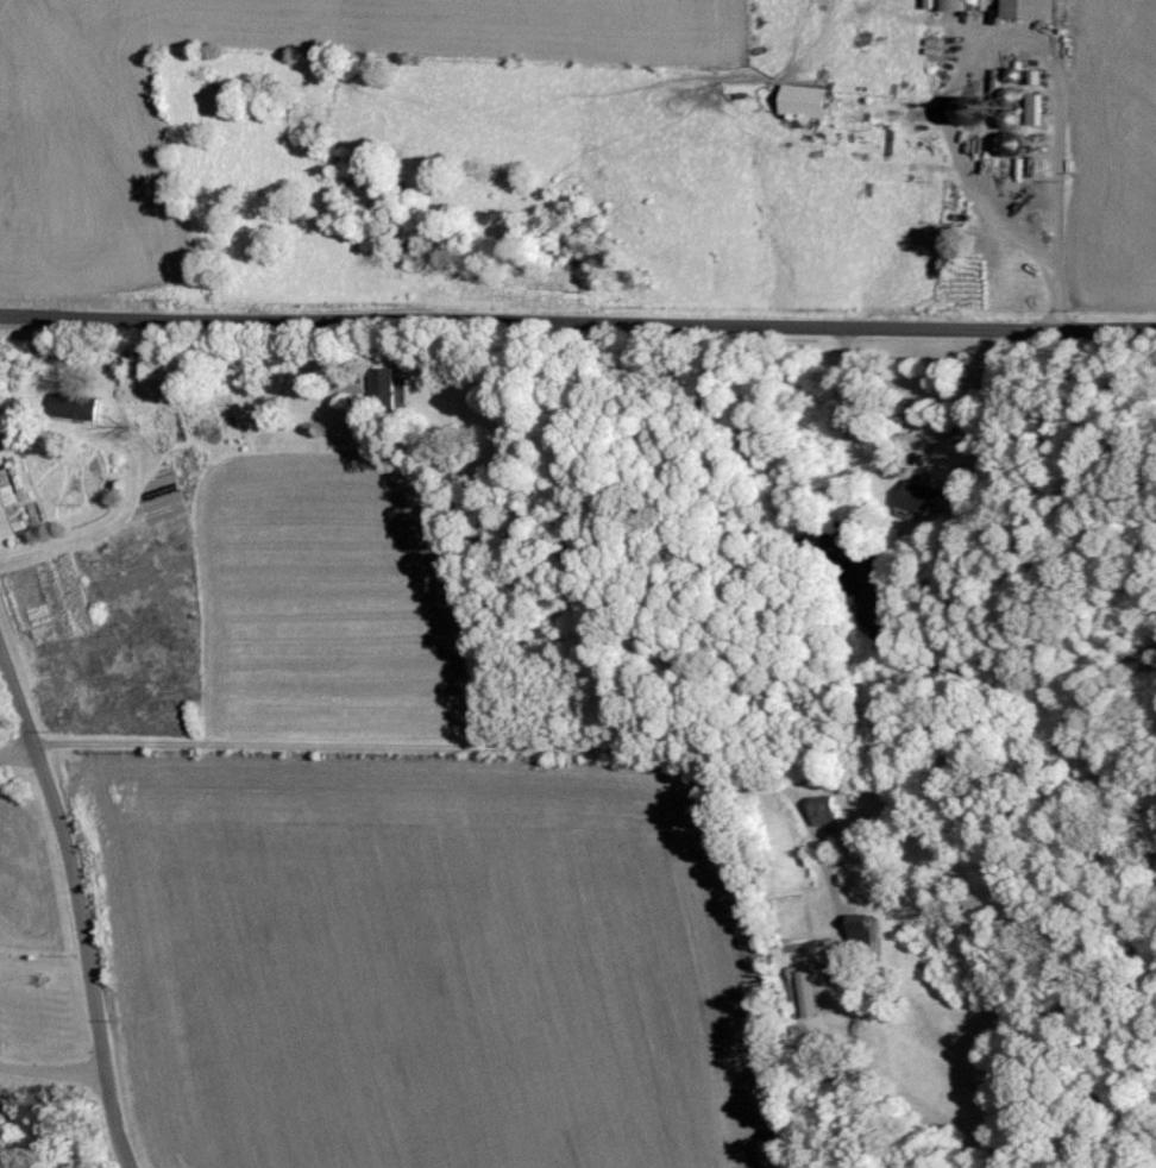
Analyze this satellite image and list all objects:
building: (951, 5)
building: (1025, 8)
building: (800, 100)
building: (1032, 108)
building: (965, 112)
road: (972, 139)
road: (1060, 304)
road: (578, 326)
building: (379, 383)
building: (70, 404)
road: (916, 439)
building: (918, 495)
road: (114, 522)
road: (20, 739)
road: (485, 739)
building: (819, 809)
road: (76, 899)
building: (860, 929)
building: (810, 988)
road: (52, 1072)

